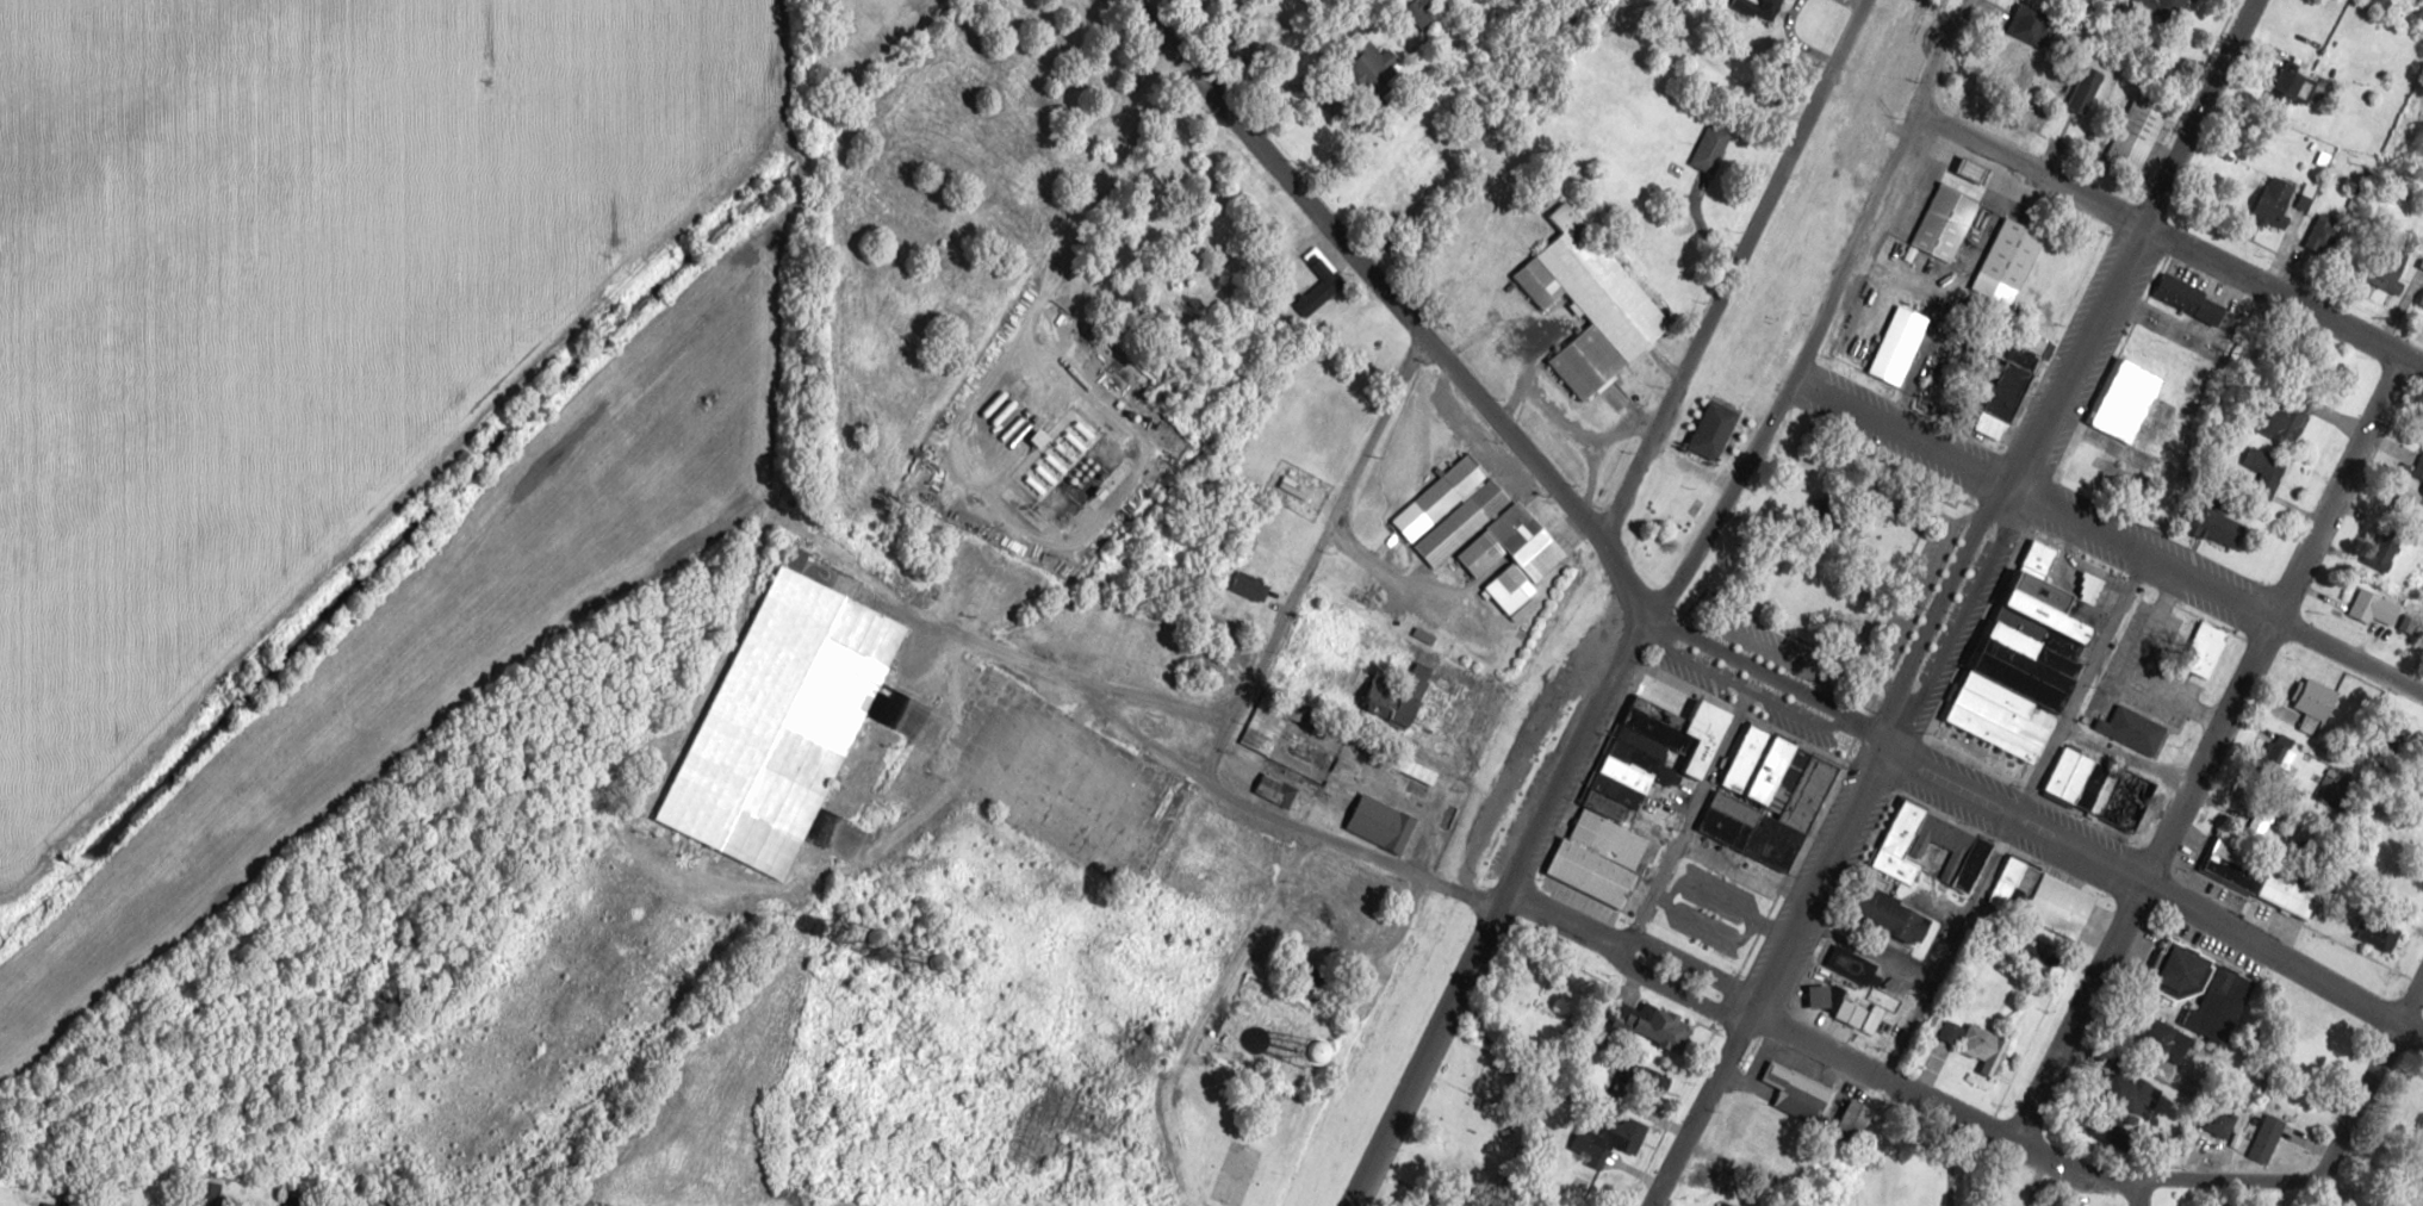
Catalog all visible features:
building: (2378, 2)
building: (2168, 7)
building: (1422, 11)
building: (2297, 83)
building: (2085, 88)
building: (2138, 130)
building: (1711, 145)
building: (1677, 168)
road: (2029, 169)
road: (1096, 184)
building: (2276, 200)
building: (2304, 203)
building: (1946, 223)
building: (2325, 236)
building: (2012, 254)
road: (1732, 268)
building: (2386, 276)
building: (1319, 287)
road: (2280, 296)
building: (2192, 299)
building: (1591, 305)
road: (1824, 317)
road: (2065, 373)
building: (2007, 393)
building: (2127, 400)
road: (1481, 405)
road: (1545, 412)
building: (2287, 417)
road: (1603, 454)
building: (2261, 472)
building: (2085, 473)
building: (2416, 499)
building: (2218, 522)
road: (1325, 526)
building: (1479, 526)
road: (2108, 534)
building: (2386, 547)
building: (1250, 585)
building: (2374, 608)
road: (2278, 621)
road: (925, 635)
building: (2206, 649)
building: (2024, 675)
road: (1087, 682)
building: (1400, 696)
building: (2316, 705)
building: (790, 714)
road: (1142, 727)
building: (2133, 729)
building: (1262, 731)
building: (2276, 758)
building: (2099, 788)
building: (1276, 790)
building: (1636, 790)
building: (1769, 798)
building: (2250, 798)
building: (1383, 823)
road: (1317, 835)
building: (1930, 847)
building: (2261, 879)
road: (2154, 887)
building: (2063, 901)
road: (1501, 909)
building: (1895, 915)
building: (2378, 932)
building: (1858, 966)
building: (2182, 970)
road: (1765, 976)
building: (1821, 995)
road: (2412, 1000)
road: (2082, 1013)
road: (1763, 1019)
building: (1952, 1031)
building: (1328, 1045)
building: (1798, 1093)
building: (1853, 1120)
building: (2226, 1124)
building: (1613, 1134)
building: (2267, 1138)
building: (1487, 1154)
road: (2250, 1176)
road: (2137, 1192)

